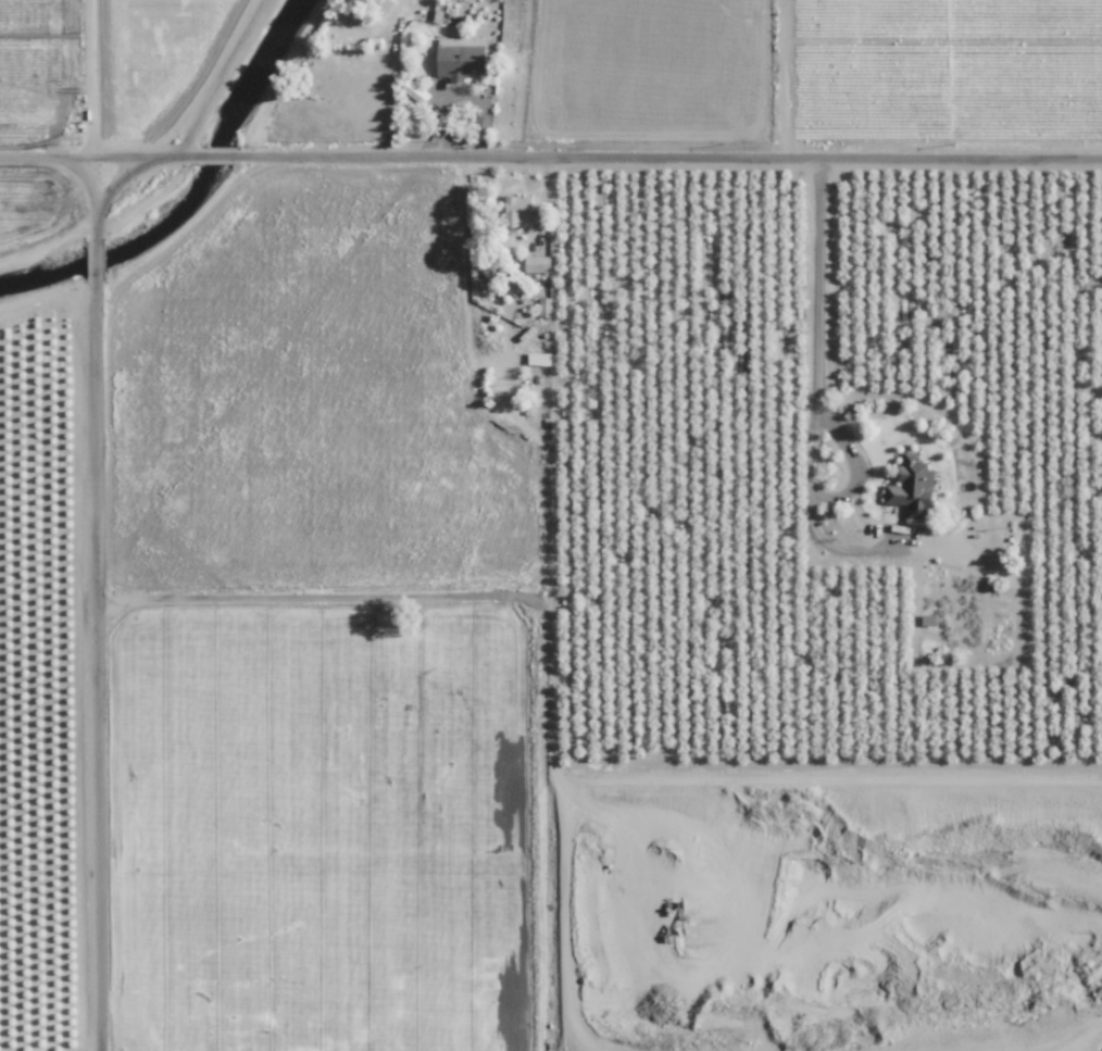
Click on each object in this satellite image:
crop: (37, 62)
crop: (941, 66)
crop: (544, 67)
road: (218, 71)
road: (389, 71)
road: (221, 142)
road: (102, 143)
road: (668, 145)
road: (87, 186)
building: (517, 211)
road: (96, 246)
building: (536, 263)
building: (543, 305)
building: (537, 358)
road: (819, 389)
road: (853, 458)
building: (913, 487)
crop: (39, 628)
road: (99, 658)

